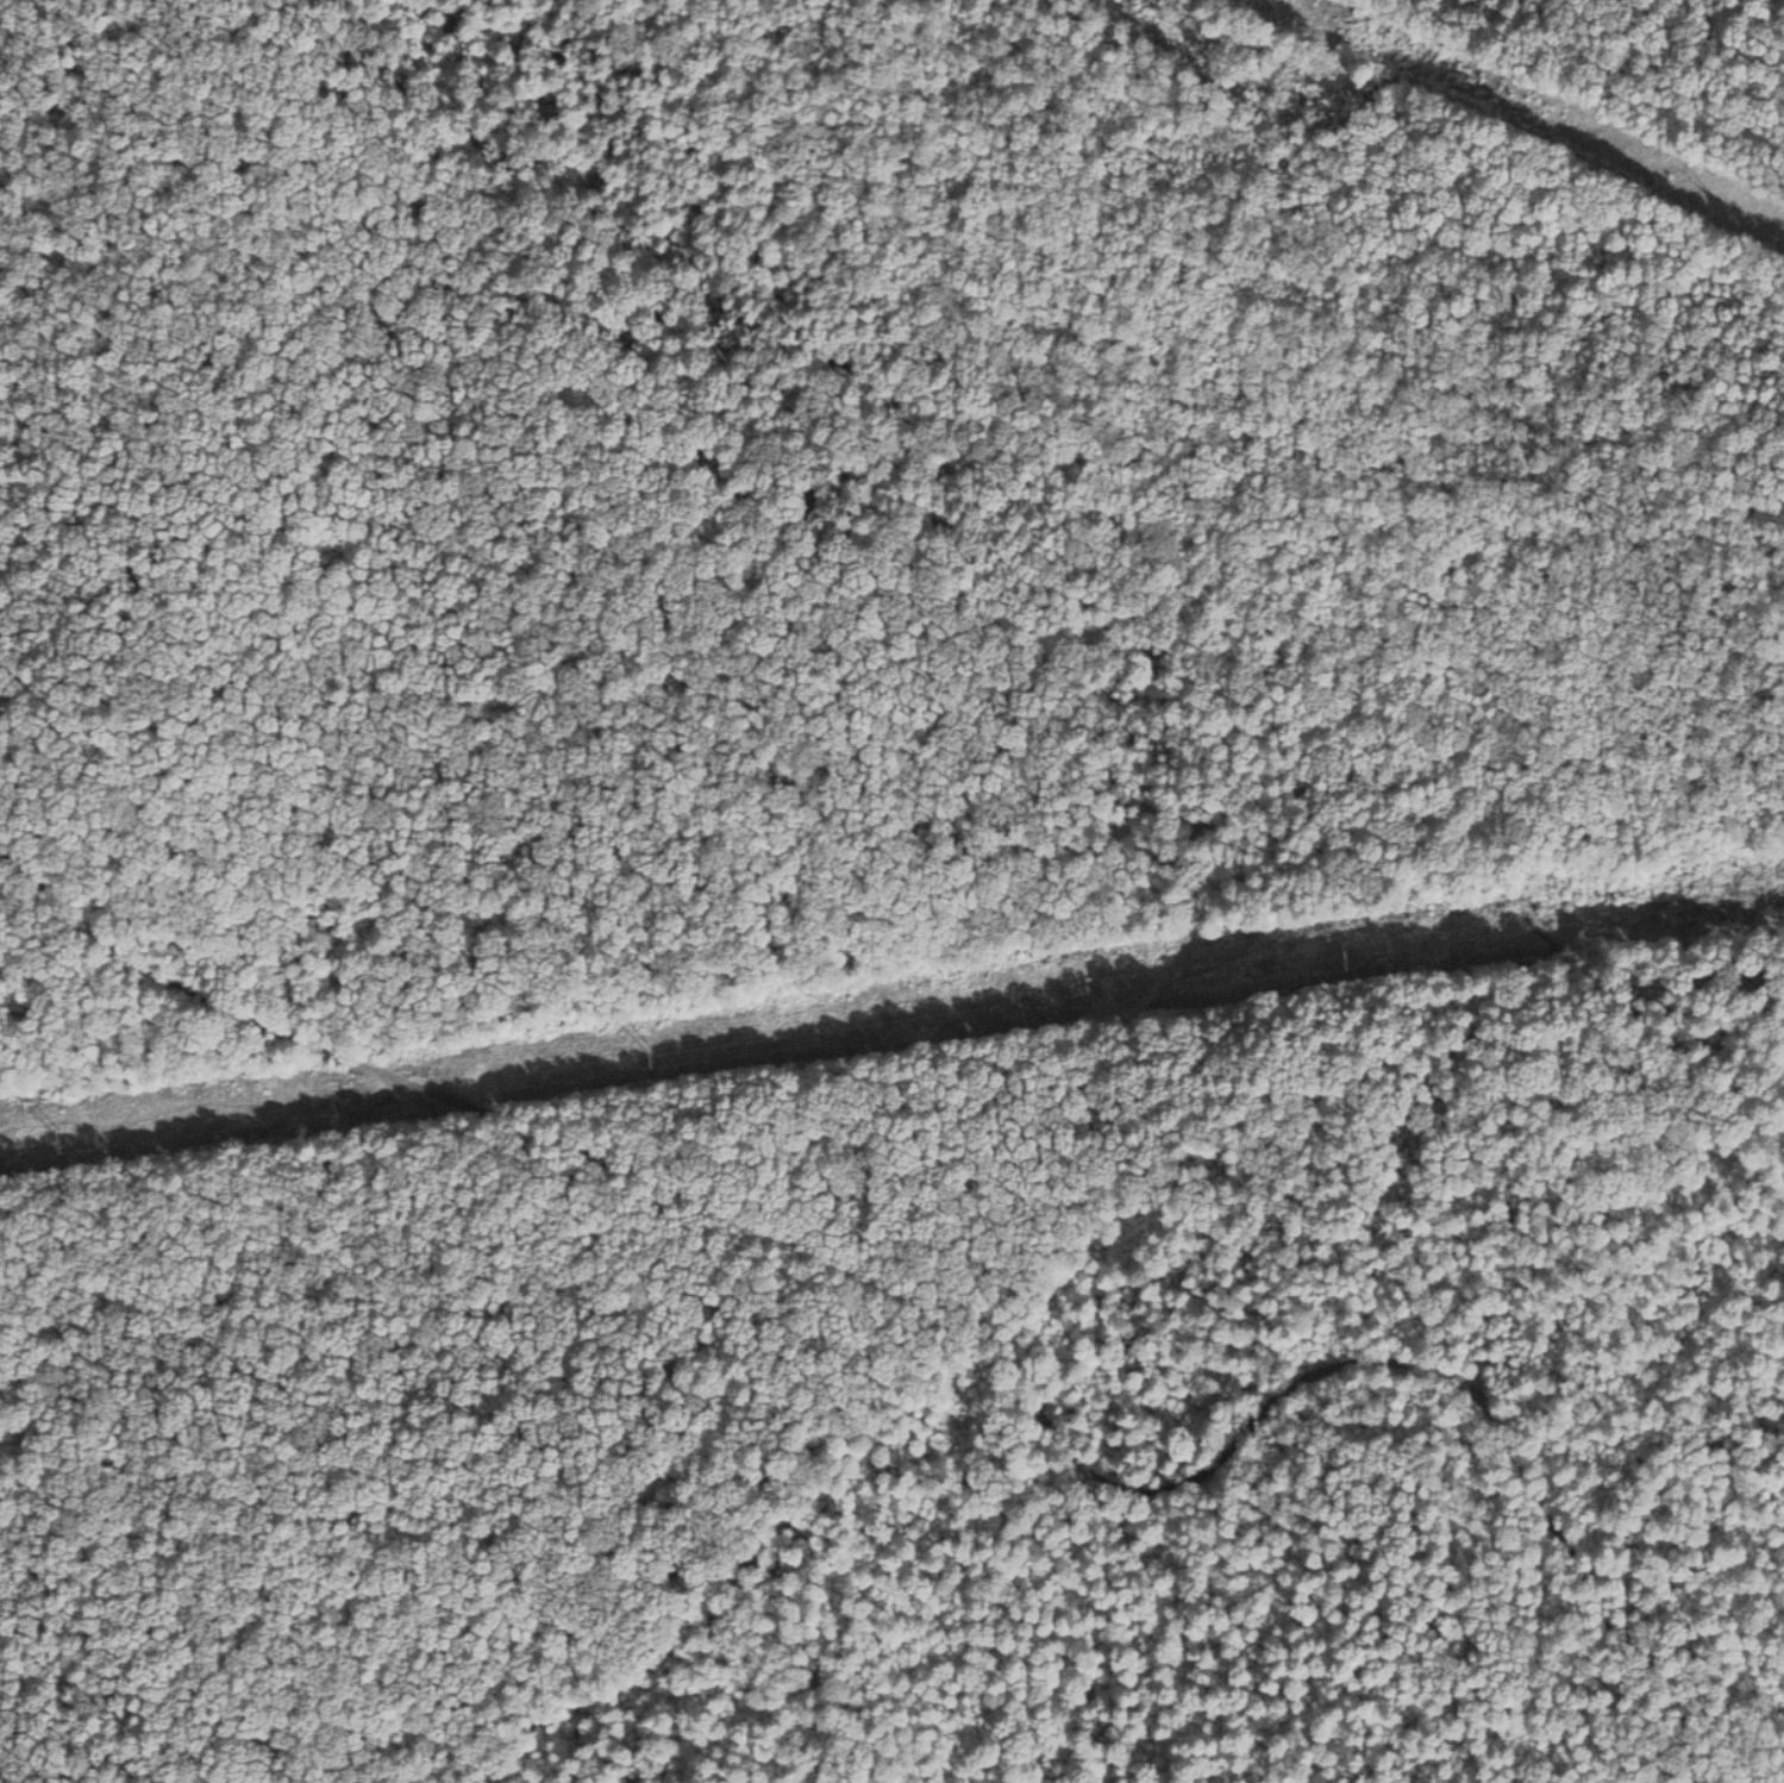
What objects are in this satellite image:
road: (972, 1338)
road: (1538, 1647)

